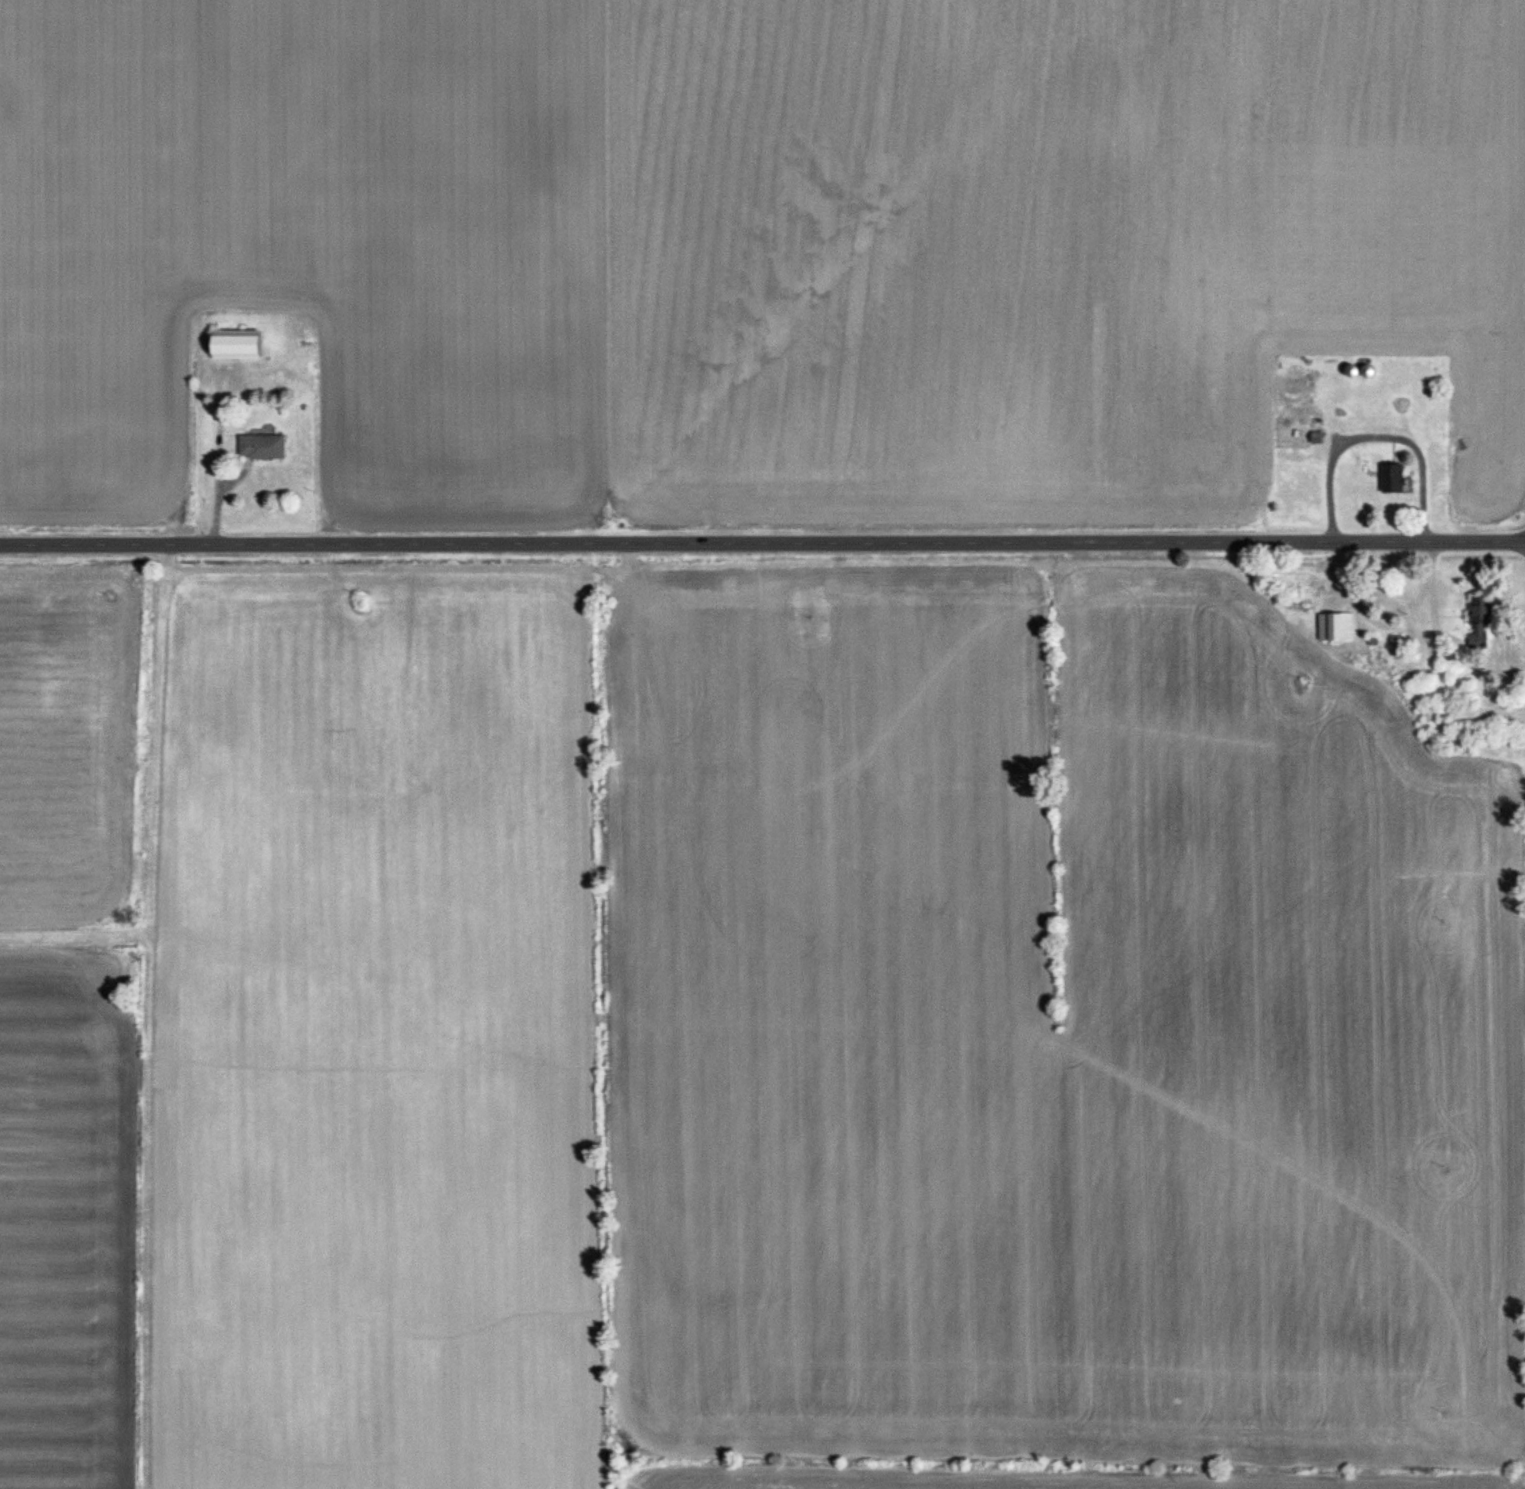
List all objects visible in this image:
building: (236, 346)
building: (1403, 405)
building: (1295, 433)
road: (1376, 438)
building: (261, 448)
building: (1392, 480)
road: (762, 542)
building: (1483, 612)
building: (1333, 630)

